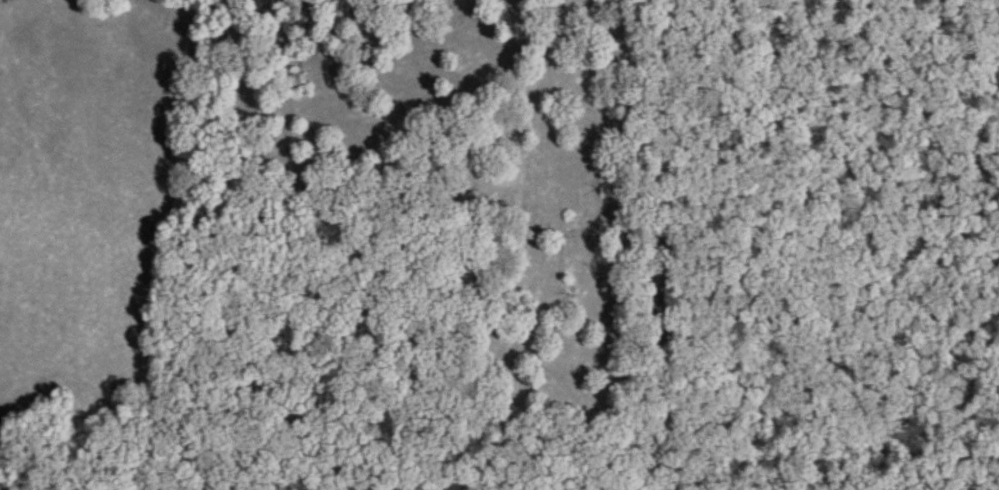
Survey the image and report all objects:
road: (977, 454)

